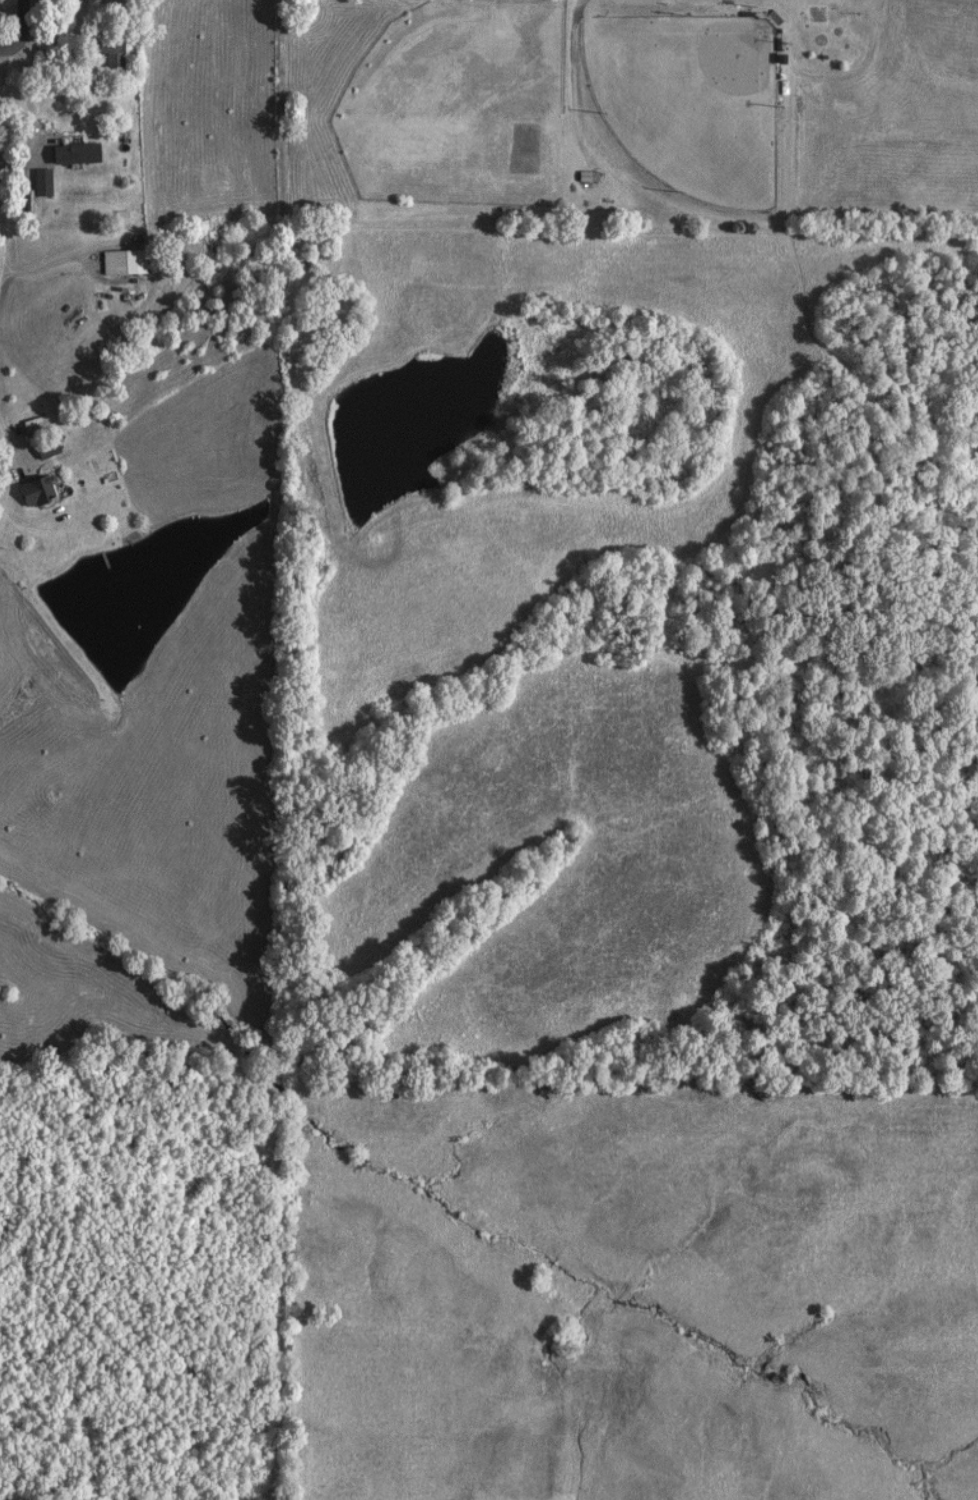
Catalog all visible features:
building: (84, 0)
road: (13, 51)
building: (103, 54)
road: (31, 143)
building: (67, 154)
building: (581, 177)
building: (35, 183)
road: (72, 255)
building: (111, 263)
road: (3, 424)
building: (40, 449)
building: (28, 492)

